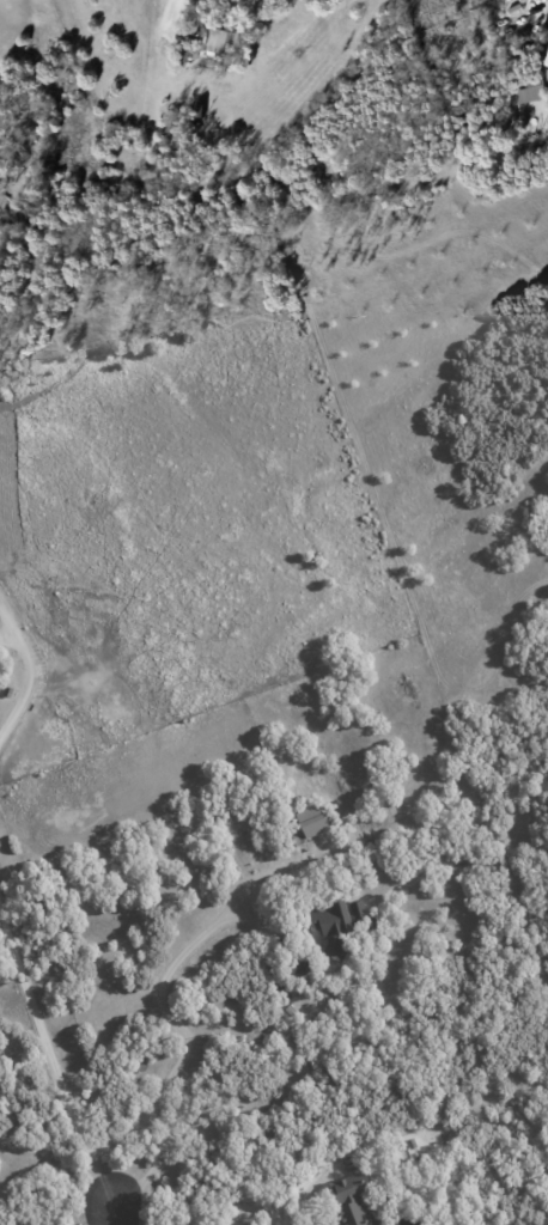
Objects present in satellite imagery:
road: (169, 12)
building: (217, 38)
building: (529, 91)
road: (29, 672)
building: (311, 822)
building: (340, 924)
building: (298, 968)
road: (181, 1046)
road: (51, 1064)
building: (351, 1201)
road: (99, 1215)
road: (114, 1215)

